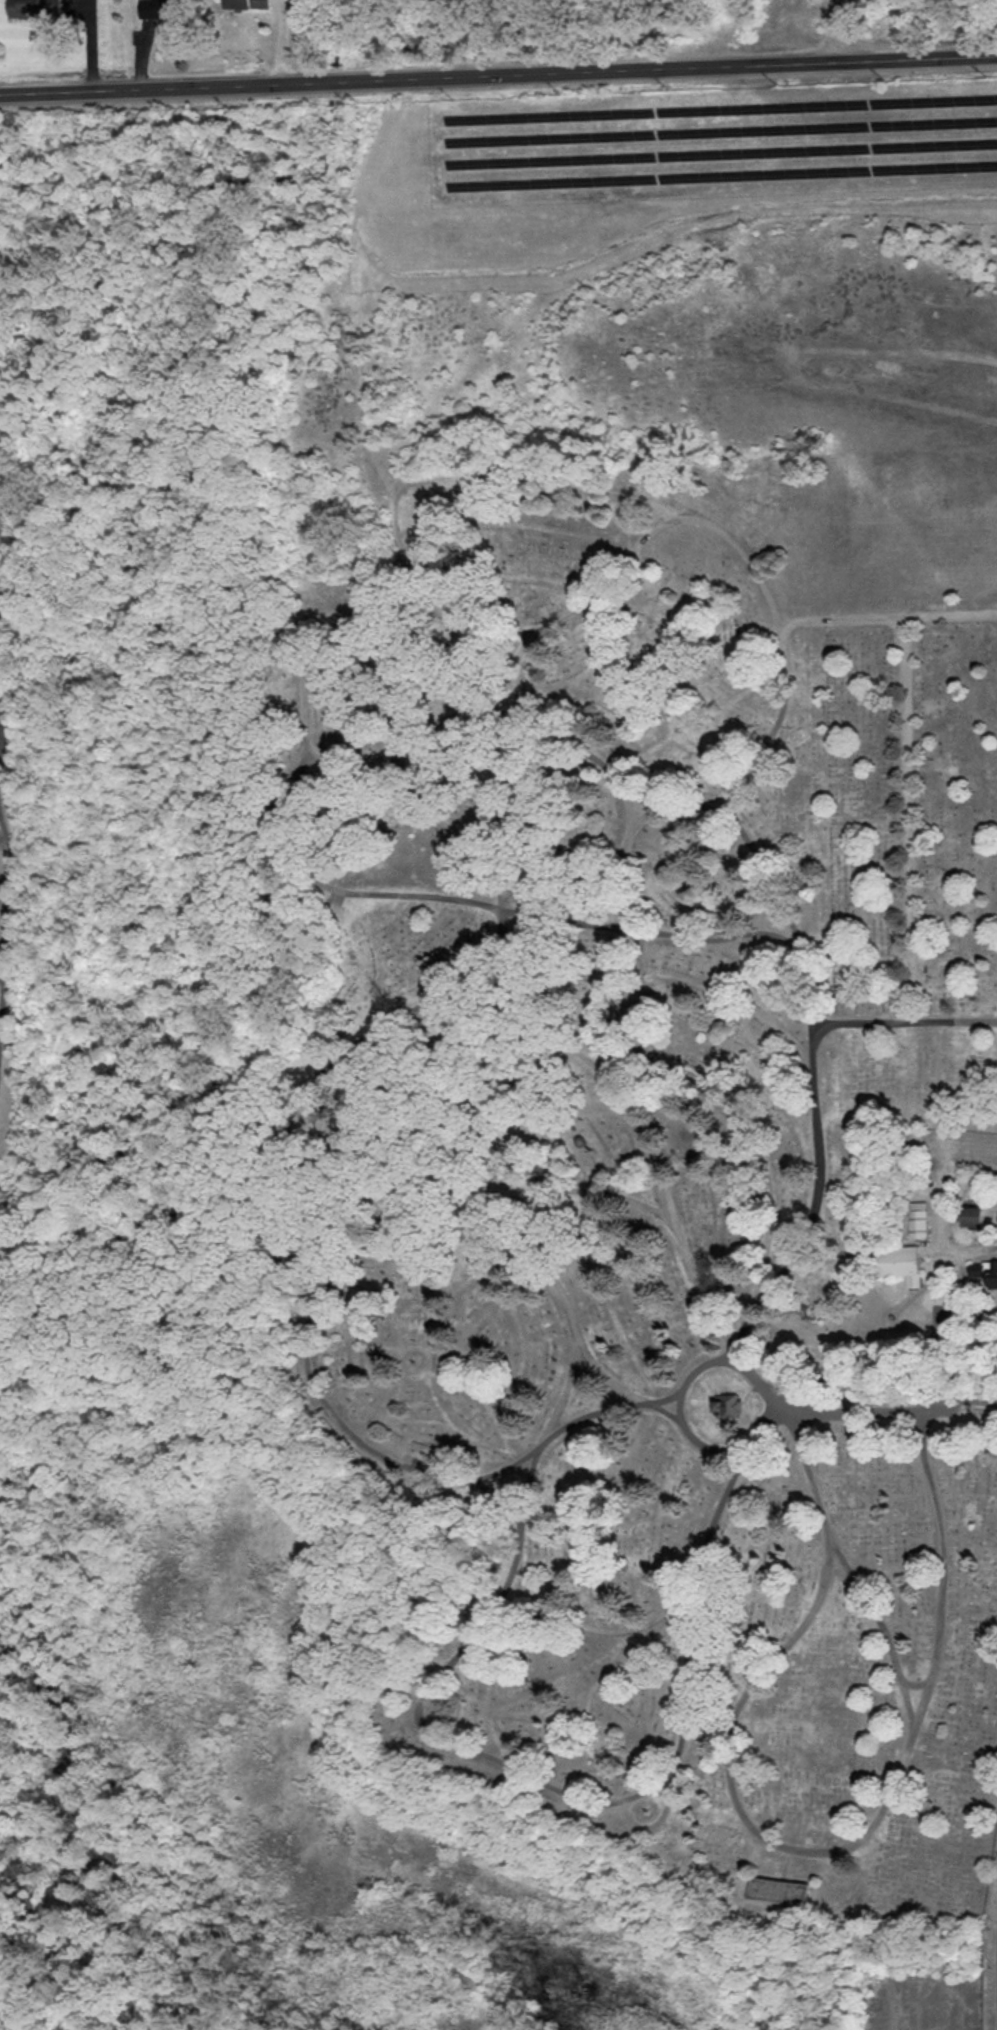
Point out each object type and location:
building: (250, 4)
building: (36, 9)
building: (163, 9)
road: (668, 63)
road: (170, 82)
solar farm: (713, 142)
road: (589, 594)
road: (885, 617)
road: (456, 712)
road: (346, 766)
road: (625, 803)
road: (903, 818)
road: (4, 919)
park: (522, 1007)
road: (901, 1020)
road: (559, 1041)
road: (652, 1109)
road: (756, 1155)
building: (976, 1217)
building: (921, 1221)
road: (948, 1245)
road: (831, 1248)
road: (510, 1249)
road: (397, 1252)
building: (902, 1264)
building: (986, 1272)
building: (809, 1312)
road: (954, 1321)
road: (744, 1366)
road: (855, 1389)
road: (965, 1396)
road: (995, 1396)
road: (995, 1397)
road: (959, 1400)
road: (935, 1401)
road: (978, 1405)
building: (731, 1406)
road: (747, 1406)
road: (850, 1408)
road: (570, 1419)
road: (437, 1471)
road: (520, 1484)
road: (877, 1619)
road: (912, 1682)
road: (655, 1818)
road: (799, 1848)
road: (785, 1863)
building: (782, 1890)
road: (985, 1938)

